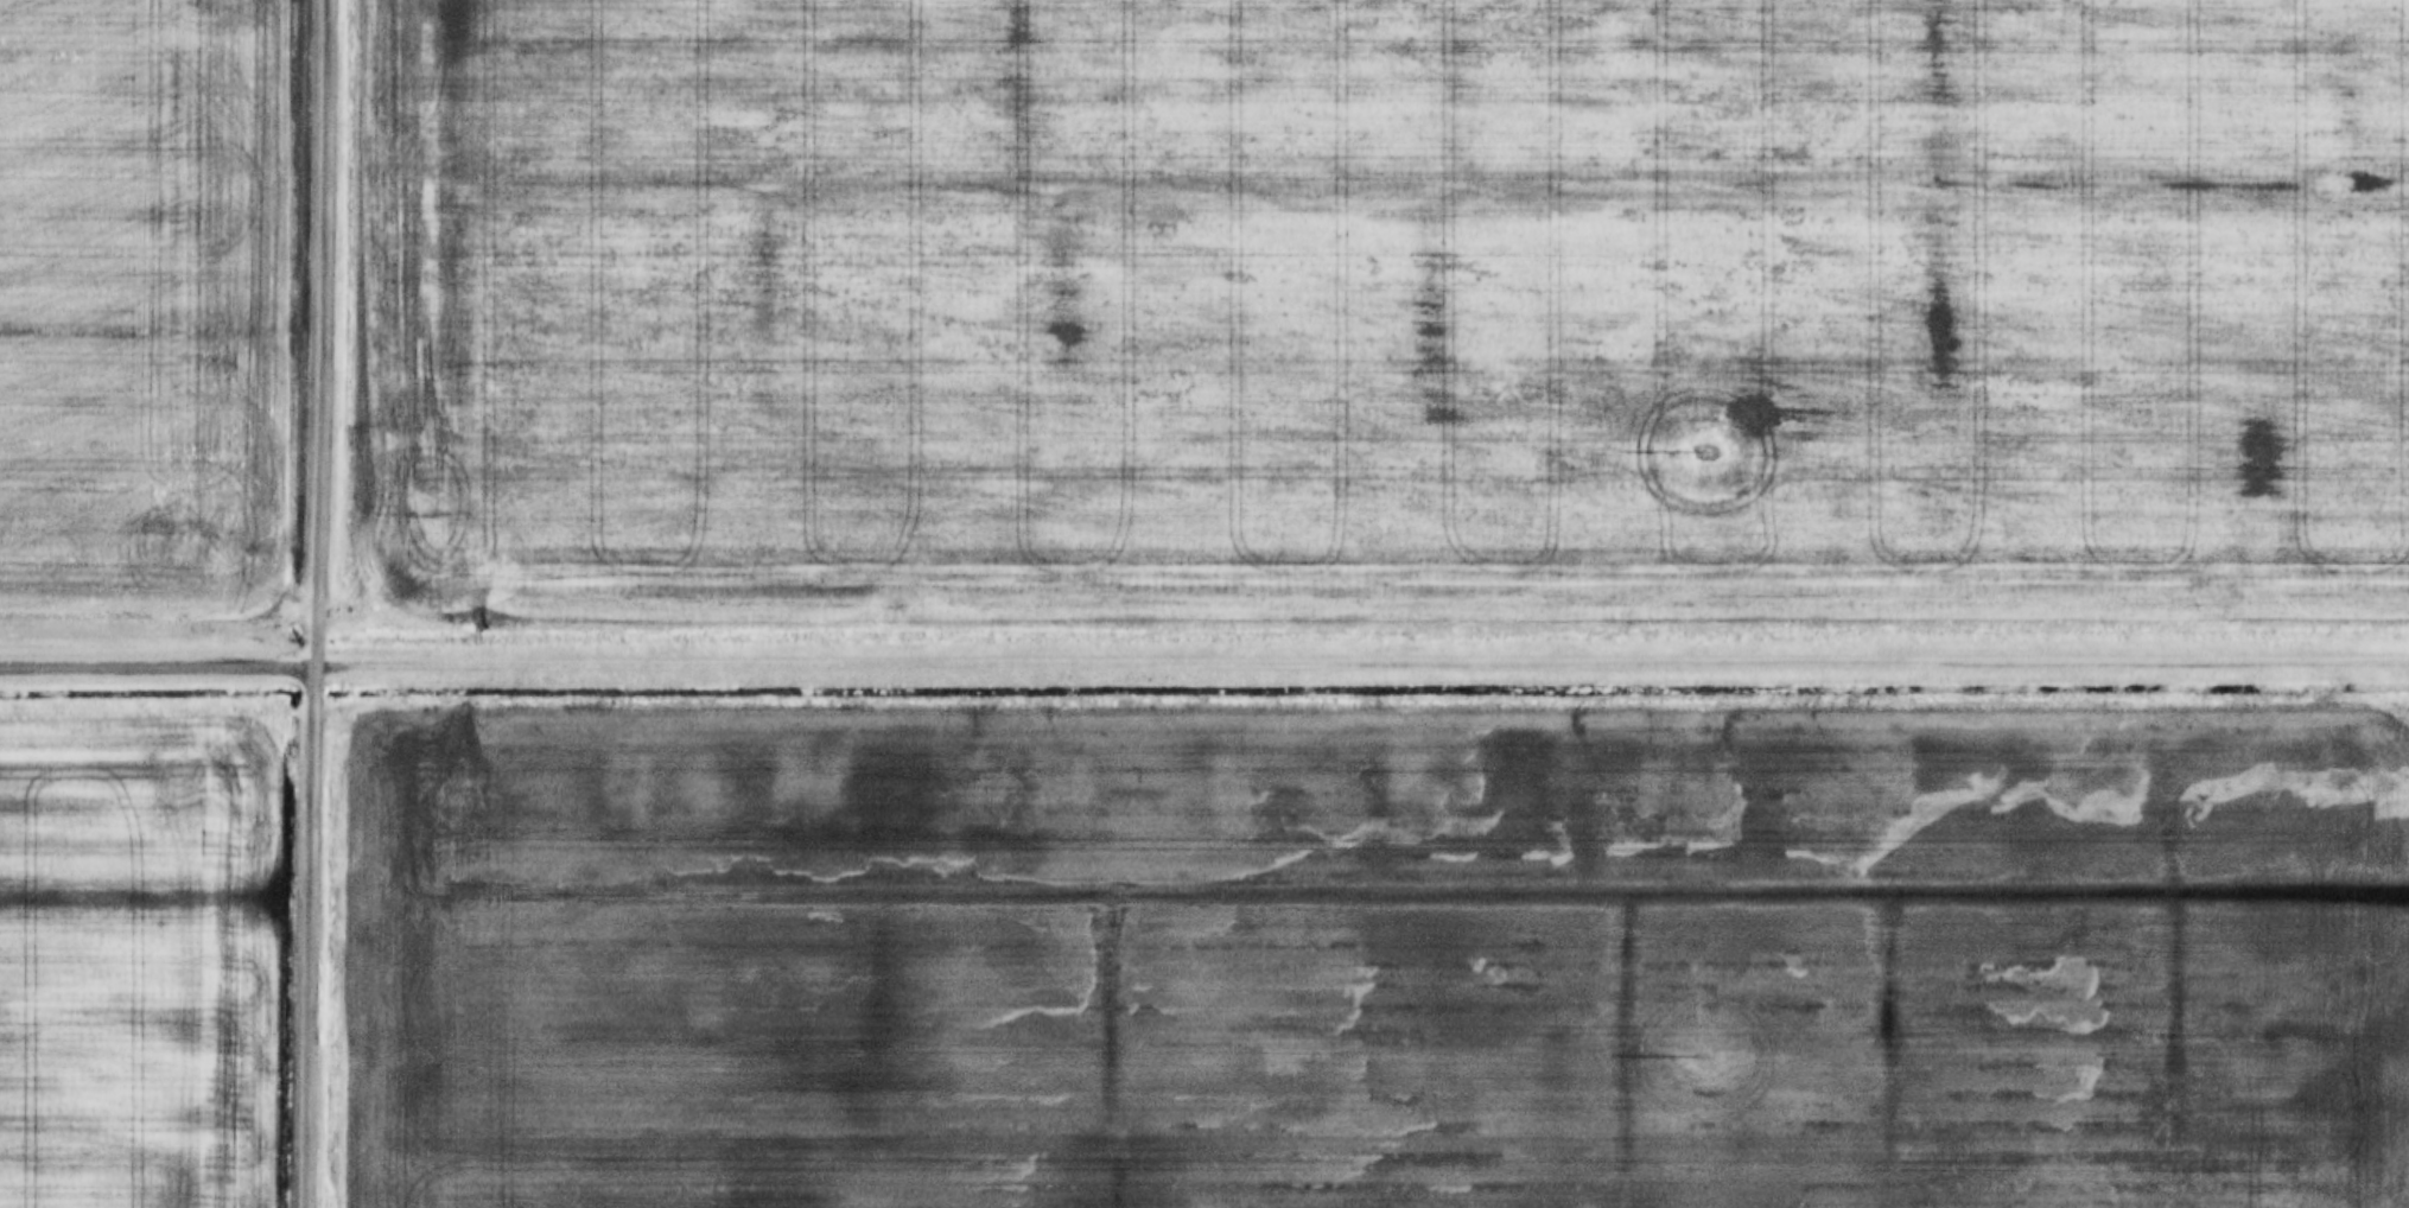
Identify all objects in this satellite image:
power tower: (1714, 449)
road: (317, 603)
road: (158, 662)
power tower: (1699, 1053)

